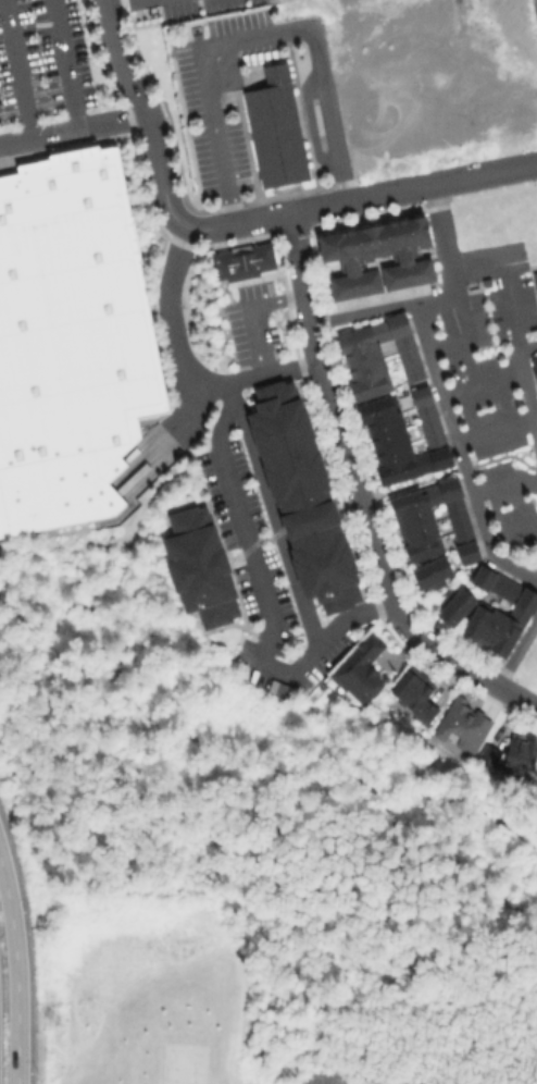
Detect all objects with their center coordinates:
road: (121, 2)
road: (251, 35)
road: (64, 65)
road: (15, 70)
parking lot: (46, 76)
road: (148, 115)
building: (278, 128)
road: (74, 131)
road: (448, 181)
road: (275, 215)
building: (414, 259)
building: (246, 262)
road: (503, 270)
building: (534, 276)
road: (436, 297)
road: (253, 315)
building: (70, 343)
building: (376, 353)
building: (536, 359)
road: (185, 367)
road: (482, 382)
road: (525, 387)
road: (492, 430)
road: (172, 435)
building: (405, 438)
road: (458, 455)
road: (354, 480)
road: (502, 483)
building: (301, 495)
road: (508, 523)
road: (273, 525)
building: (432, 529)
building: (198, 568)
road: (2, 576)
road: (2, 584)
road: (263, 598)
building: (453, 606)
building: (522, 613)
road: (516, 649)
building: (358, 669)
building: (415, 691)
building: (282, 692)
road: (523, 699)
building: (463, 724)
building: (520, 751)
road: (265, 767)
park: (200, 773)
park: (533, 863)
road: (16, 972)

